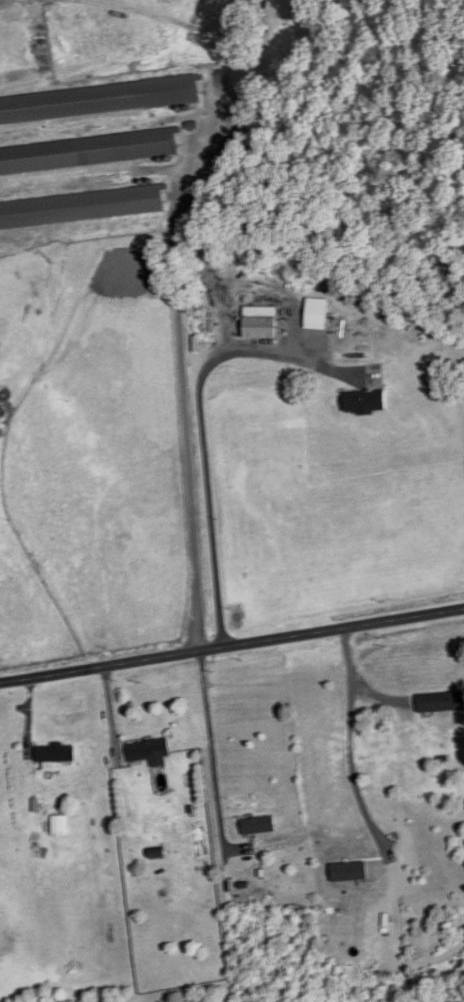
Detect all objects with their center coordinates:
building: (281, 6)
building: (90, 127)
building: (83, 208)
building: (261, 322)
building: (365, 401)
road: (203, 425)
road: (187, 444)
road: (232, 644)
building: (440, 702)
road: (350, 740)
road: (211, 745)
building: (150, 751)
building: (56, 754)
building: (258, 825)

